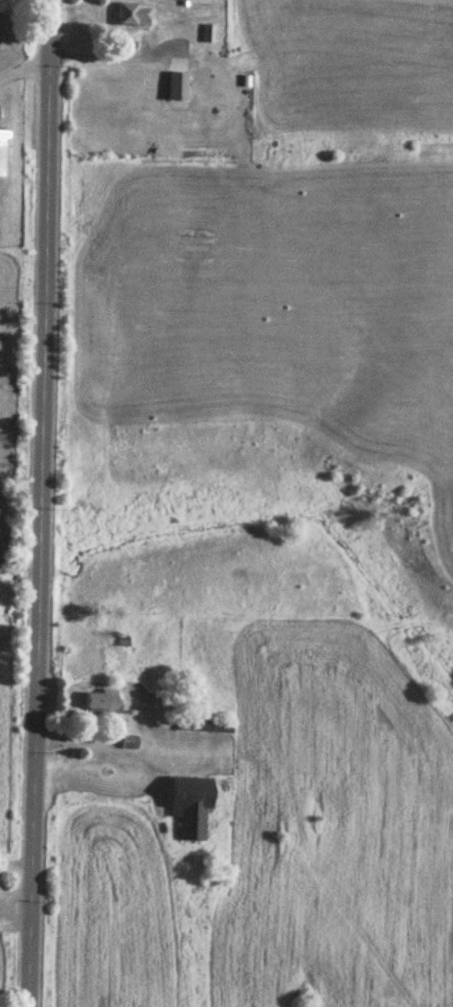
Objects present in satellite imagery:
building: (132, 15)
building: (177, 87)
building: (2, 153)
road: (50, 503)
building: (99, 702)
building: (205, 726)
building: (188, 806)

